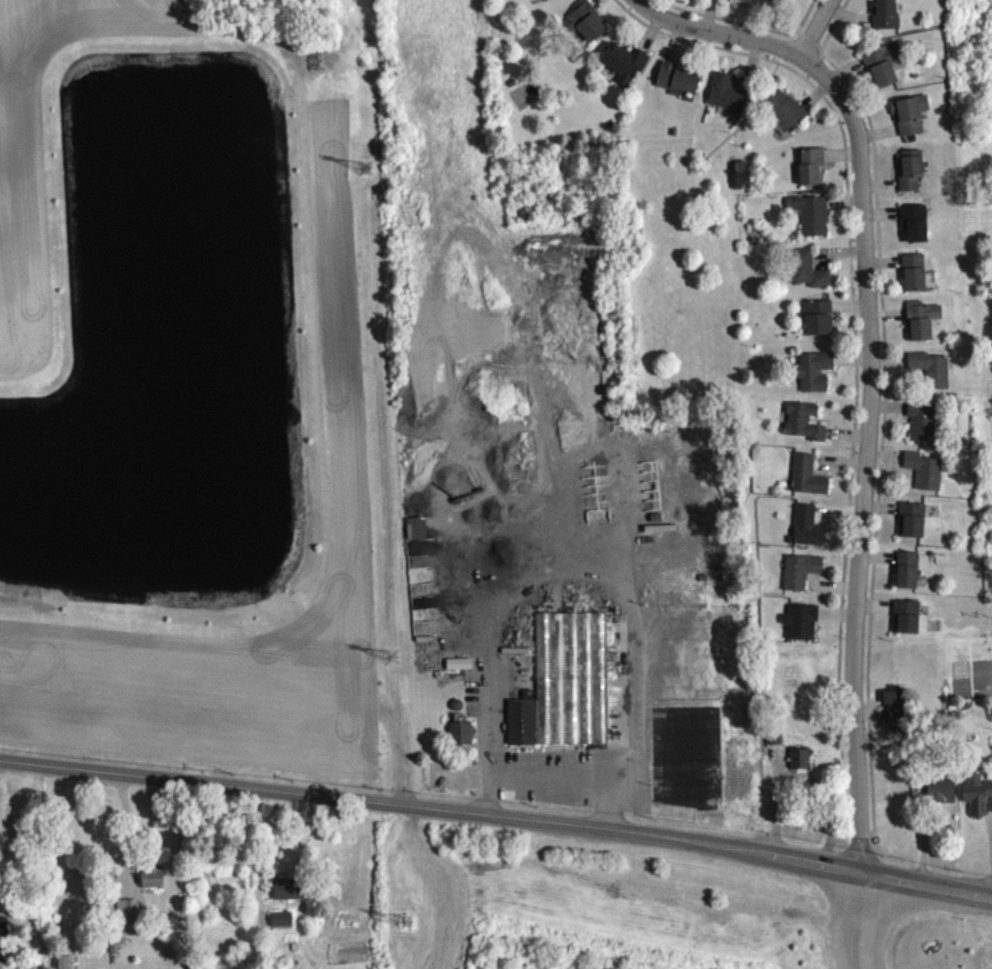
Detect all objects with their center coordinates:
building: (791, 1)
building: (551, 2)
building: (740, 3)
building: (887, 18)
building: (586, 28)
road: (821, 29)
road: (724, 35)
building: (626, 68)
building: (884, 70)
building: (679, 85)
building: (728, 99)
building: (787, 116)
building: (911, 120)
power tower: (363, 172)
building: (811, 172)
building: (912, 176)
crop: (23, 217)
building: (812, 220)
building: (916, 229)
building: (810, 276)
building: (916, 279)
building: (820, 324)
building: (923, 326)
building: (932, 376)
building: (816, 378)
building: (805, 428)
building: (924, 428)
road: (863, 455)
crop: (344, 471)
building: (926, 477)
building: (809, 482)
building: (913, 526)
building: (809, 533)
building: (418, 535)
building: (909, 576)
building: (802, 577)
building: (908, 623)
building: (802, 628)
power tower: (390, 657)
building: (568, 690)
building: (897, 717)
building: (462, 741)
building: (801, 765)
road: (555, 770)
building: (938, 798)
building: (979, 802)
road: (497, 816)
road: (126, 830)
building: (154, 885)
building: (292, 895)
building: (129, 917)
power tower: (406, 921)
road: (861, 921)
building: (283, 925)
building: (65, 965)

